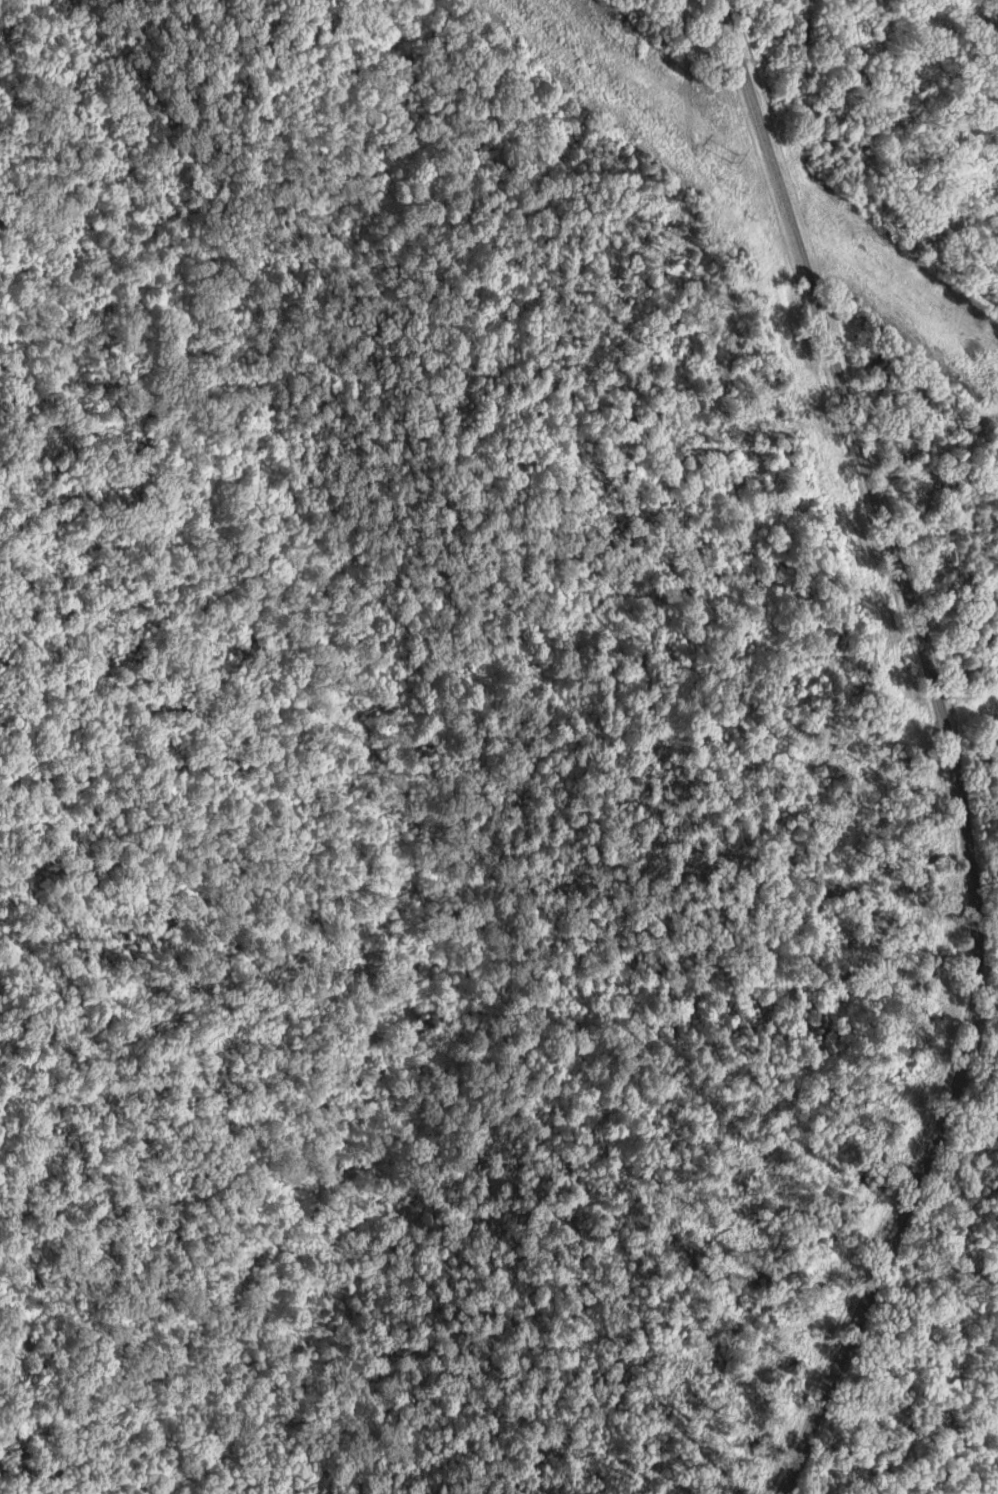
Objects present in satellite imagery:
power tower: (732, 160)
road: (946, 749)

